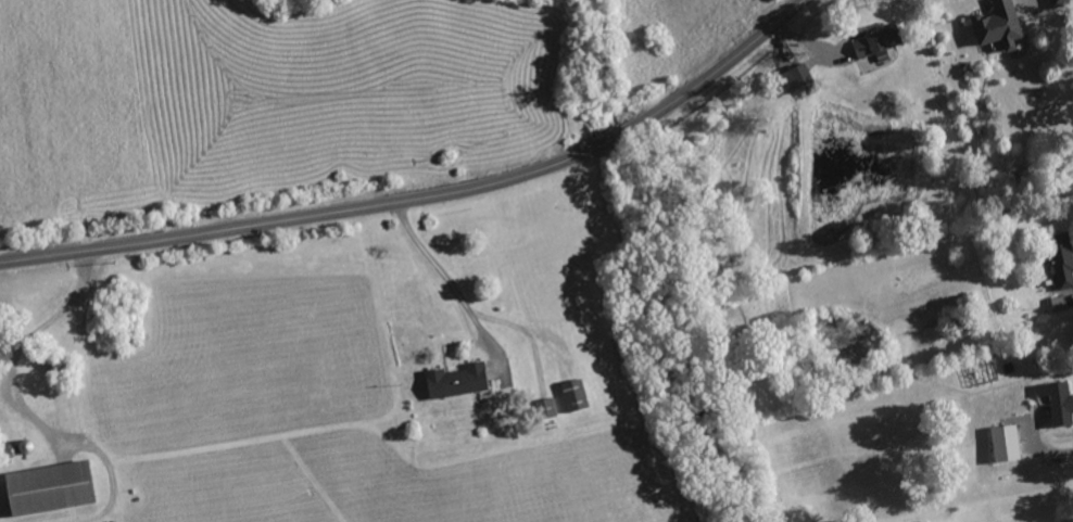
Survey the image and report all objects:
building: (1053, 2)
building: (994, 26)
building: (867, 47)
road: (427, 195)
building: (1058, 265)
road: (443, 280)
building: (1055, 304)
road: (26, 349)
building: (451, 381)
building: (570, 396)
building: (1053, 403)
building: (543, 408)
building: (999, 444)
road: (1044, 444)
building: (43, 489)
road: (1062, 518)

